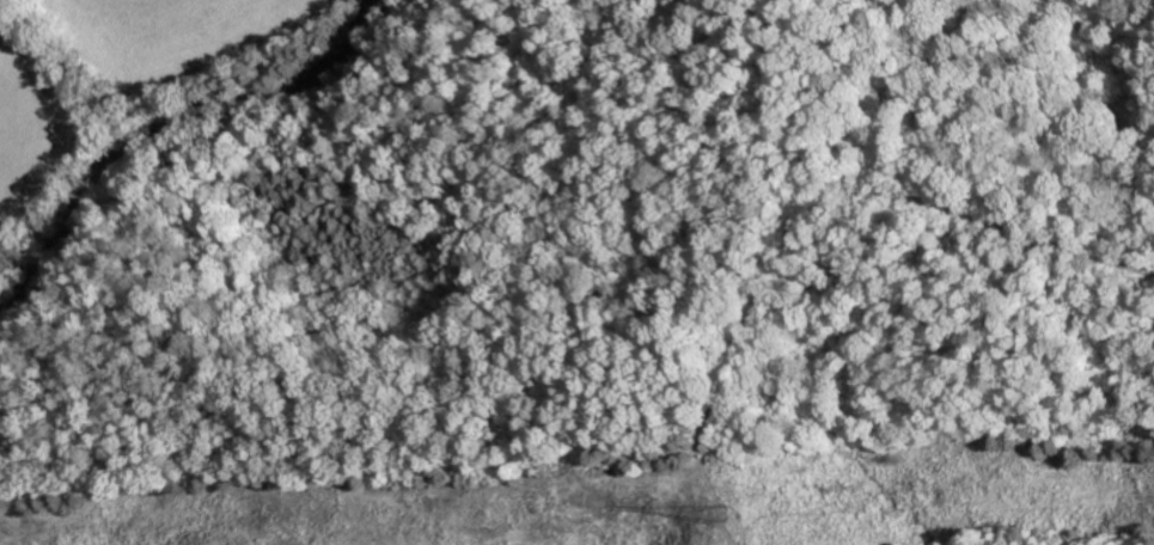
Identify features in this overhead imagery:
power tower: (715, 514)

